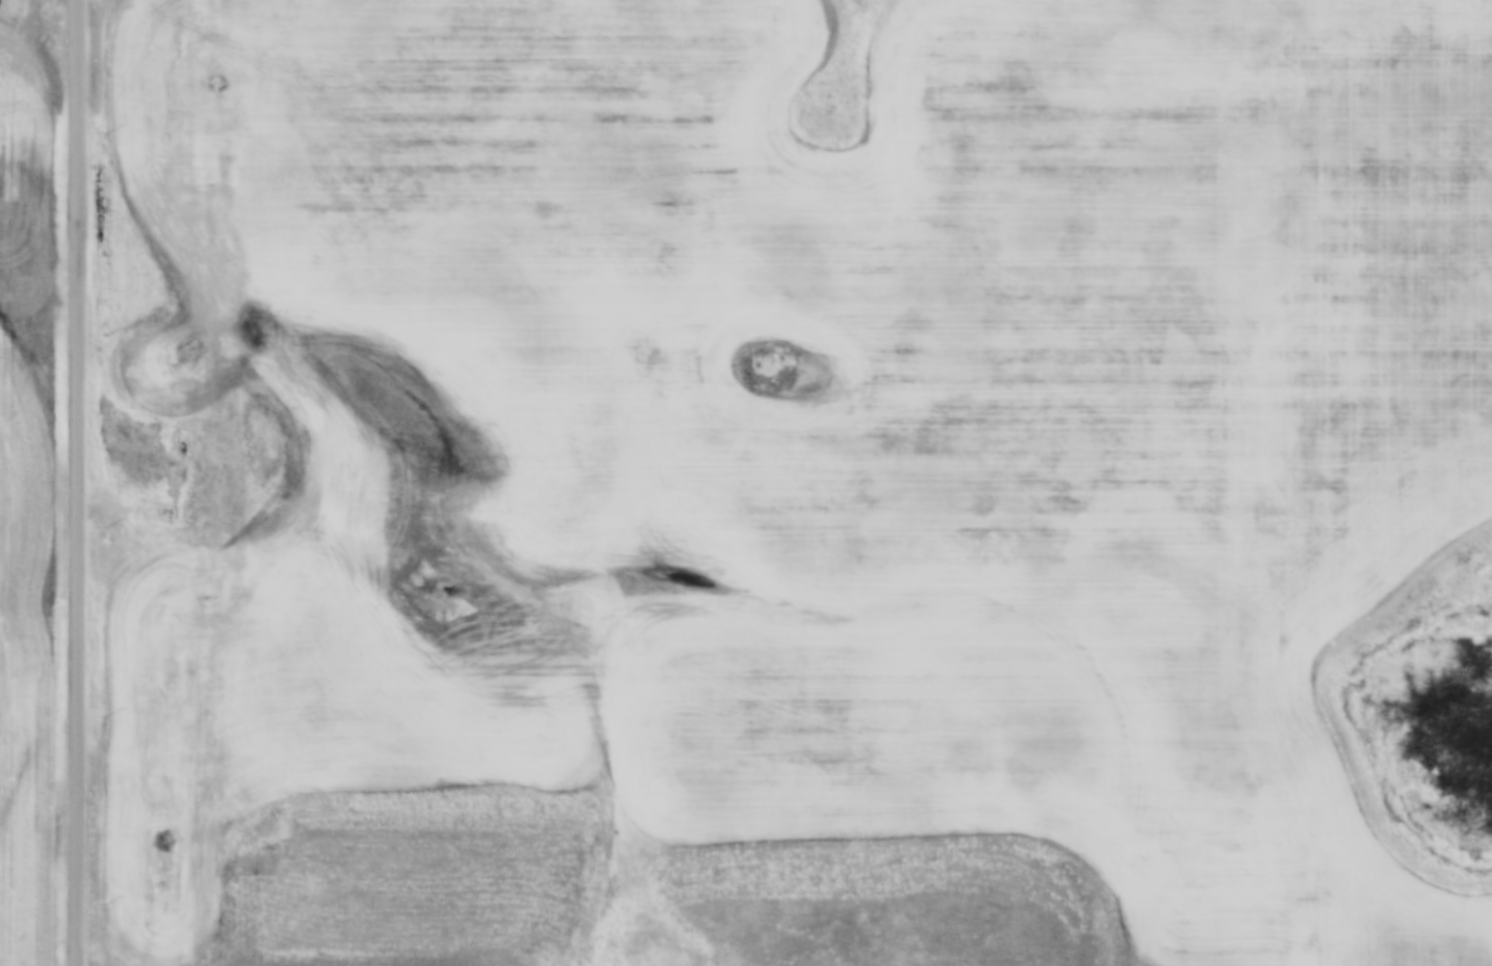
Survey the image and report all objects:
road: (32, 27)
road: (81, 482)

